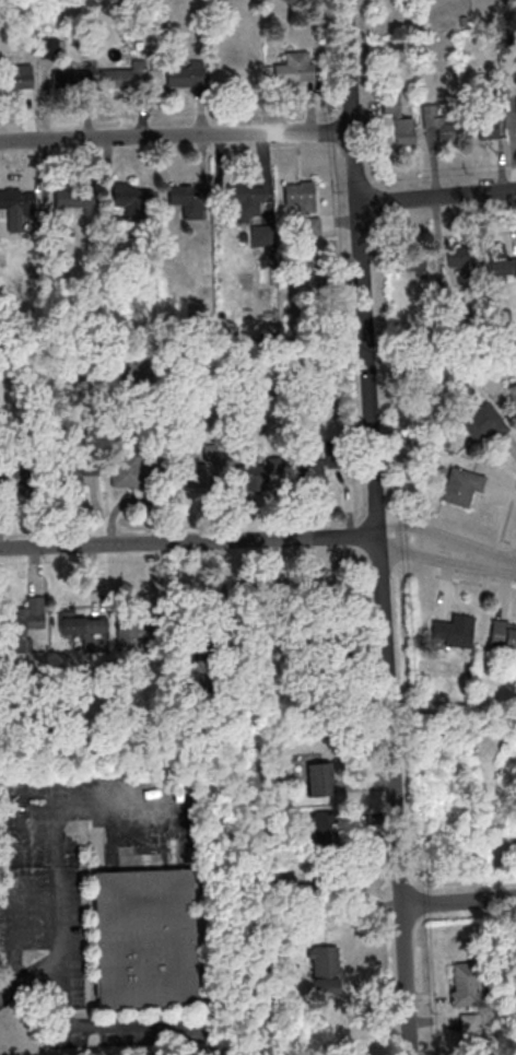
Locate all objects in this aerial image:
building: (296, 67)
building: (125, 75)
building: (185, 75)
building: (242, 75)
building: (16, 79)
building: (71, 79)
building: (390, 102)
building: (439, 121)
building: (488, 122)
building: (404, 131)
road: (174, 136)
building: (301, 195)
road: (436, 195)
building: (70, 197)
building: (133, 199)
building: (188, 199)
building: (249, 199)
building: (19, 201)
building: (312, 225)
building: (497, 259)
building: (414, 260)
building: (458, 265)
building: (104, 373)
building: (513, 394)
building: (484, 422)
building: (128, 469)
building: (308, 472)
building: (191, 473)
building: (243, 474)
building: (73, 477)
building: (462, 484)
road: (504, 517)
road: (375, 527)
road: (447, 538)
road: (187, 541)
road: (445, 559)
road: (515, 567)
road: (473, 582)
building: (235, 596)
building: (23, 624)
building: (85, 630)
building: (454, 631)
building: (503, 634)
building: (139, 635)
building: (320, 778)
building: (329, 830)
road: (59, 856)
road: (10, 867)
road: (460, 901)
building: (142, 936)
building: (326, 970)
building: (465, 983)
road: (78, 1027)

